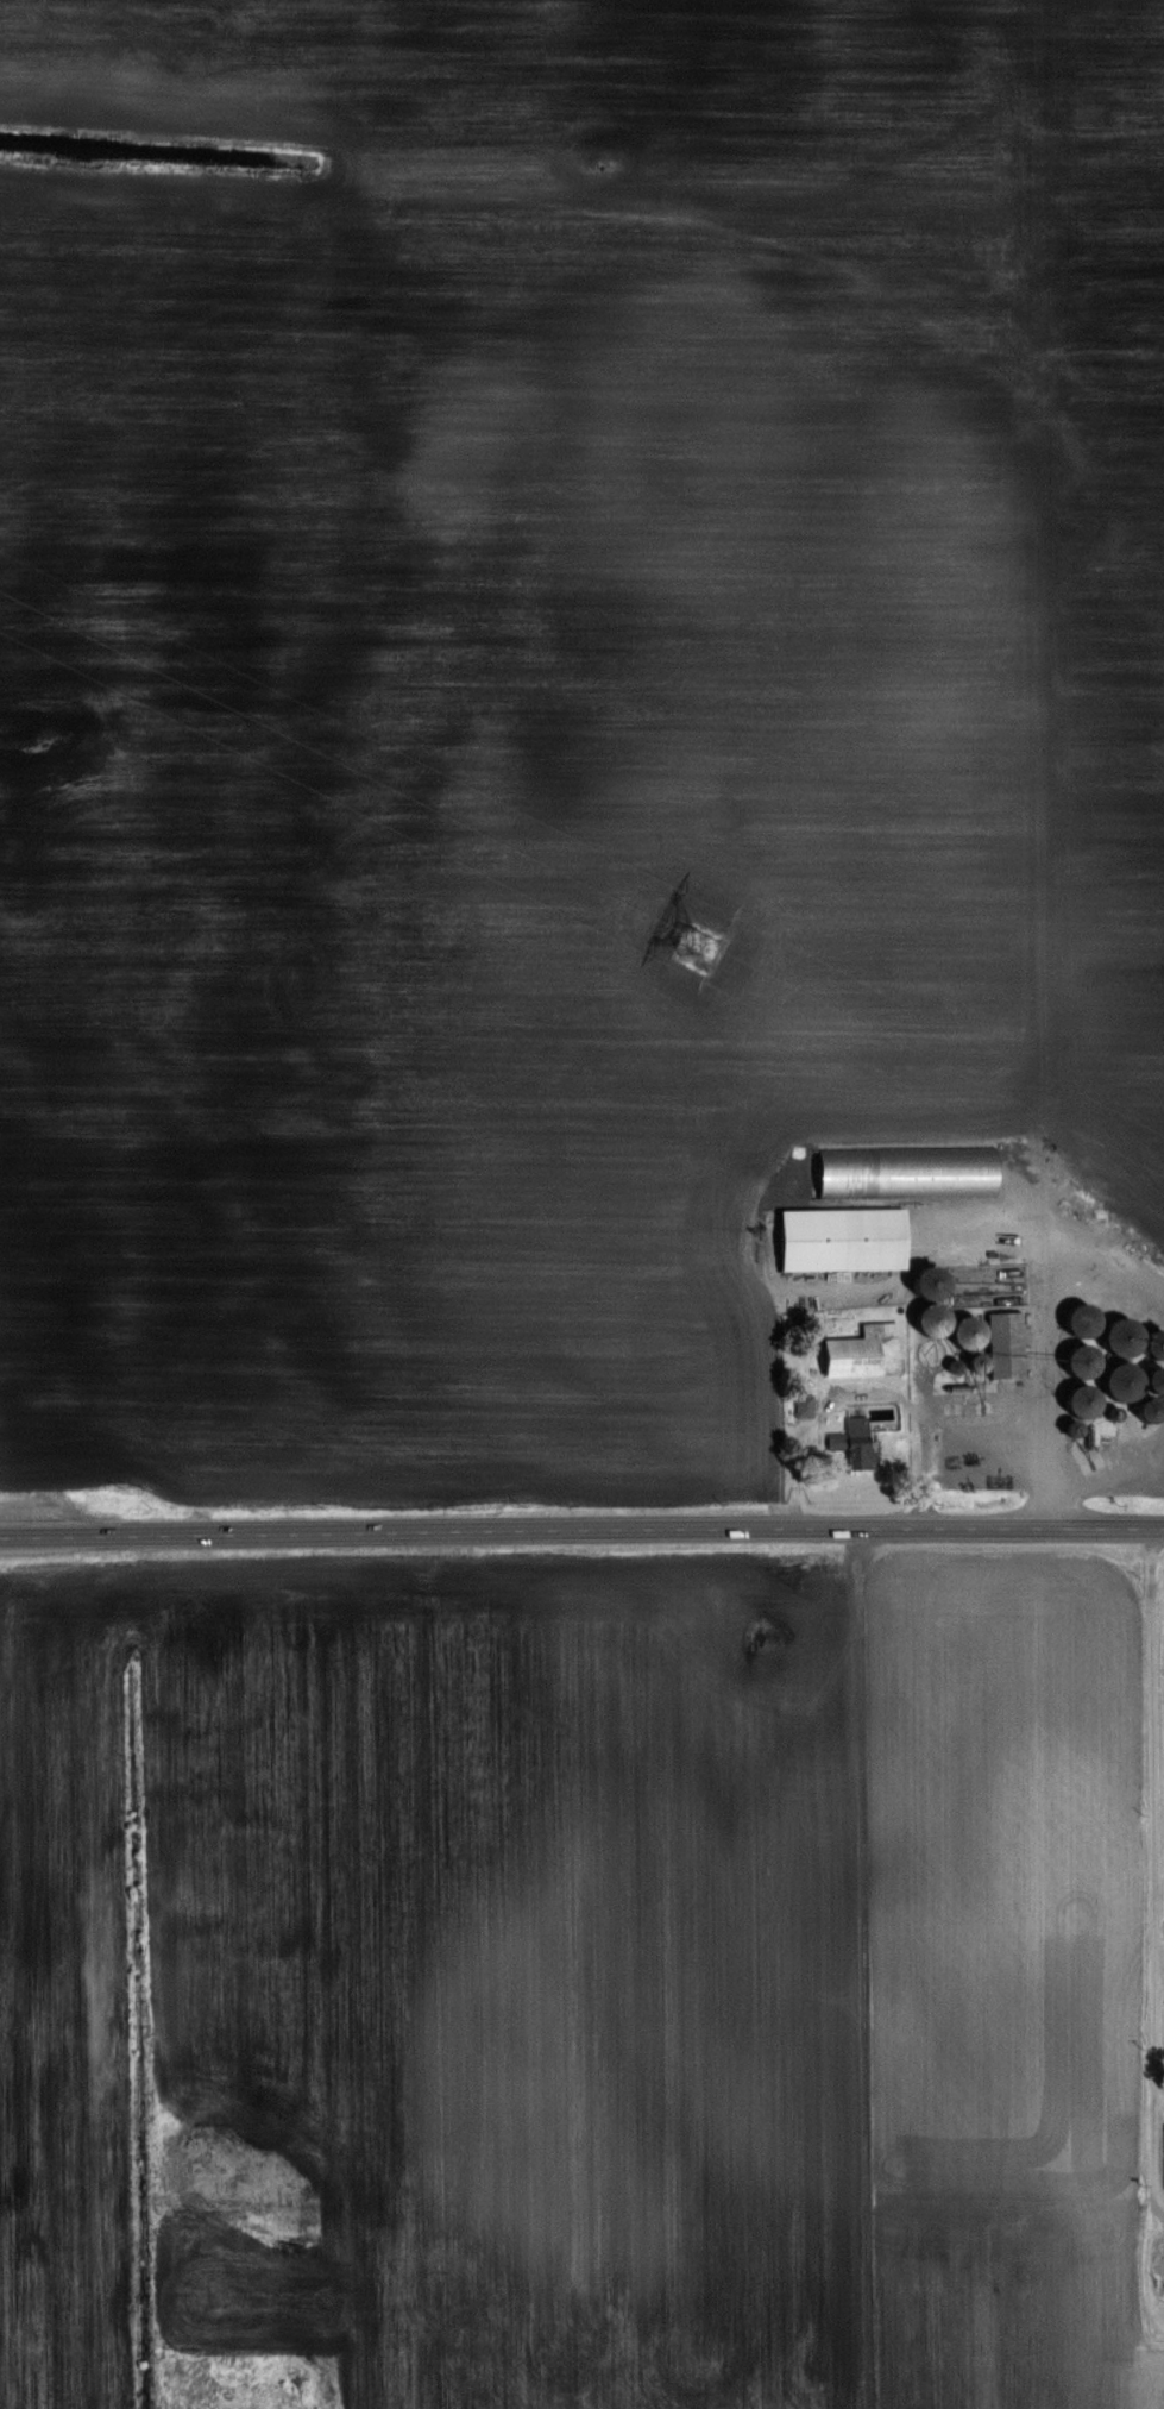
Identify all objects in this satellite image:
power tower: (696, 940)
building: (842, 1240)
building: (996, 1320)
building: (864, 1351)
building: (860, 1444)
road: (581, 1529)
road: (1146, 1870)

